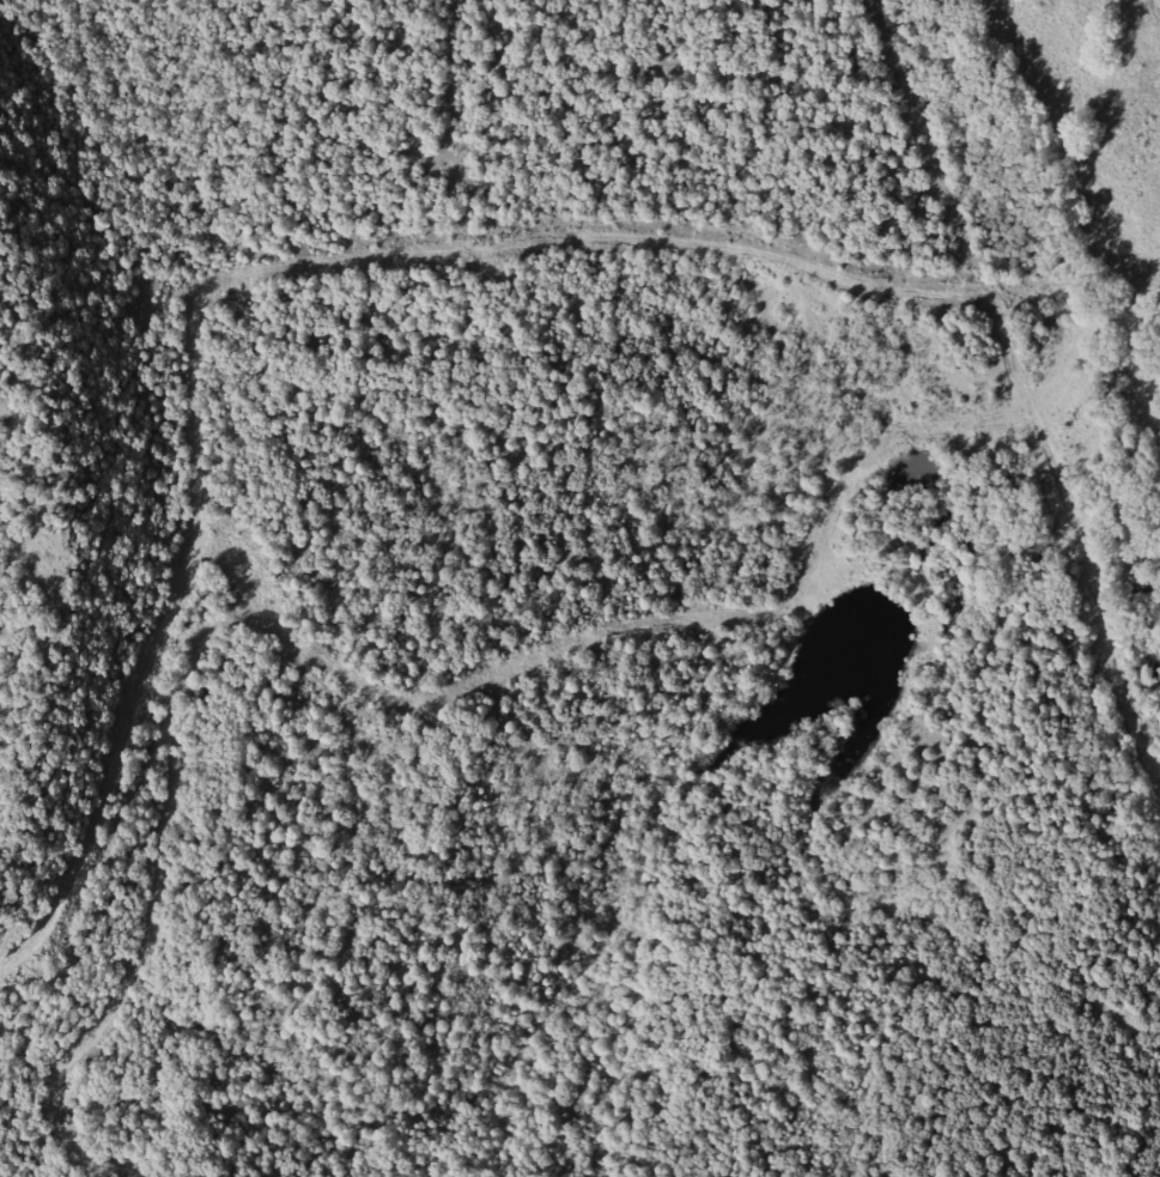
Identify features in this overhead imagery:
road: (1021, 338)

